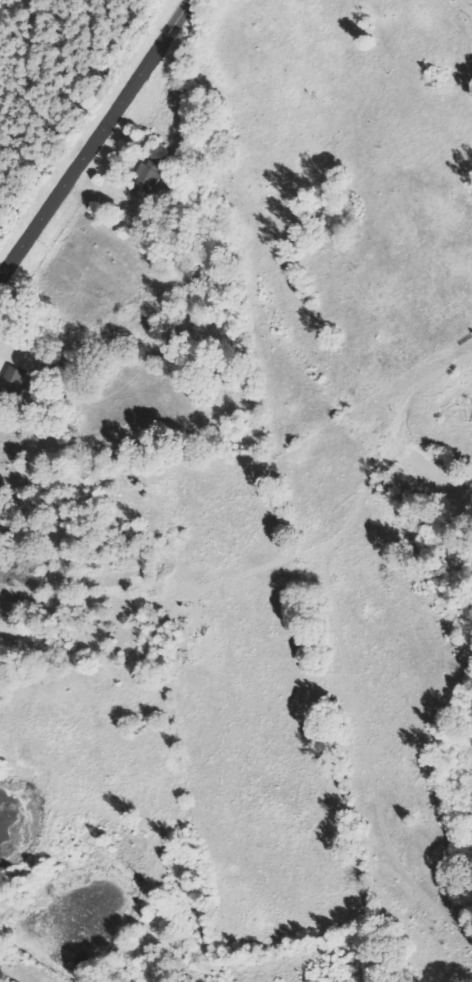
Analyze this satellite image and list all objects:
road: (467, 7)
road: (95, 139)
building: (152, 176)

